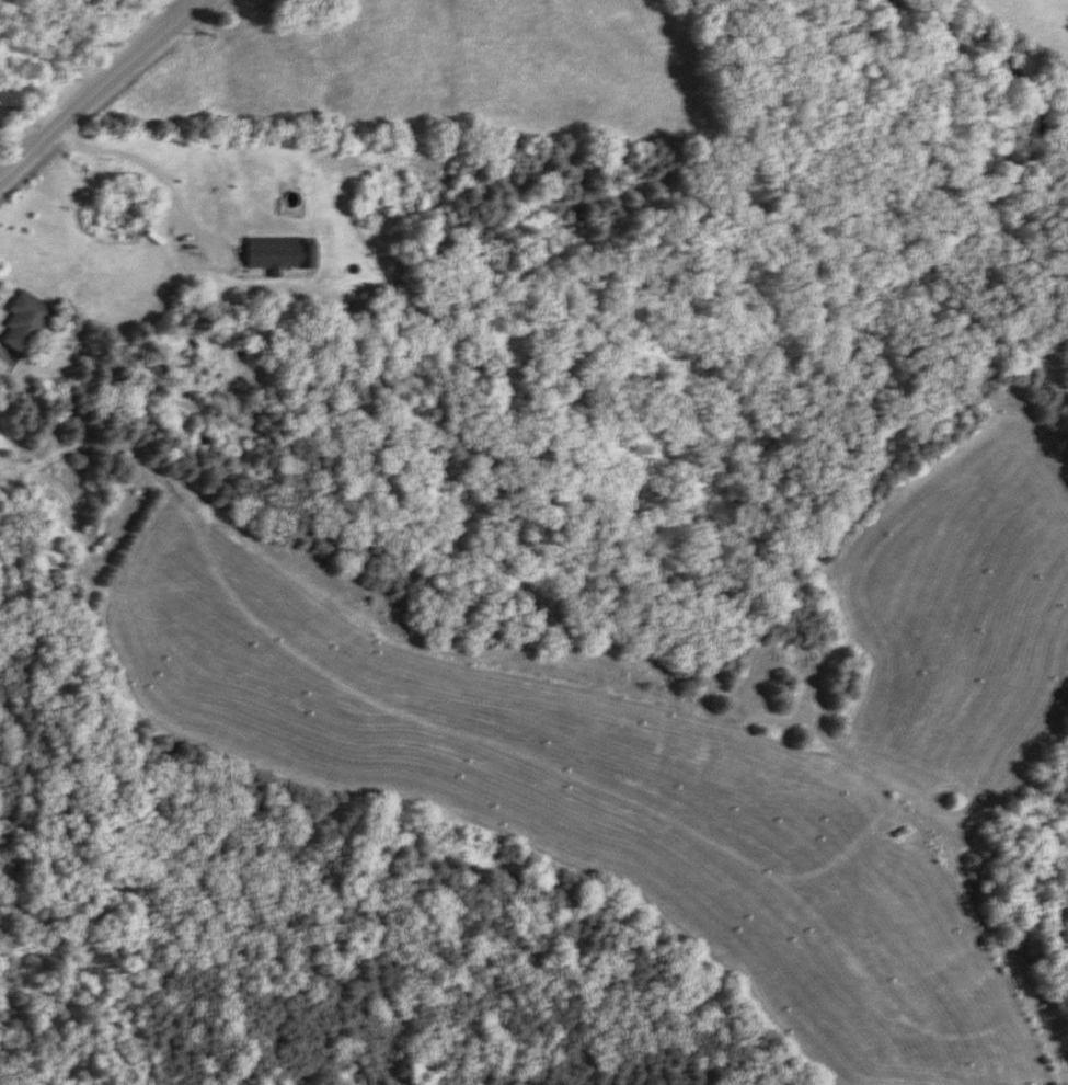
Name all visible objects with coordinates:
road: (95, 84)
road: (27, 112)
road: (154, 167)
building: (273, 253)
building: (23, 320)

